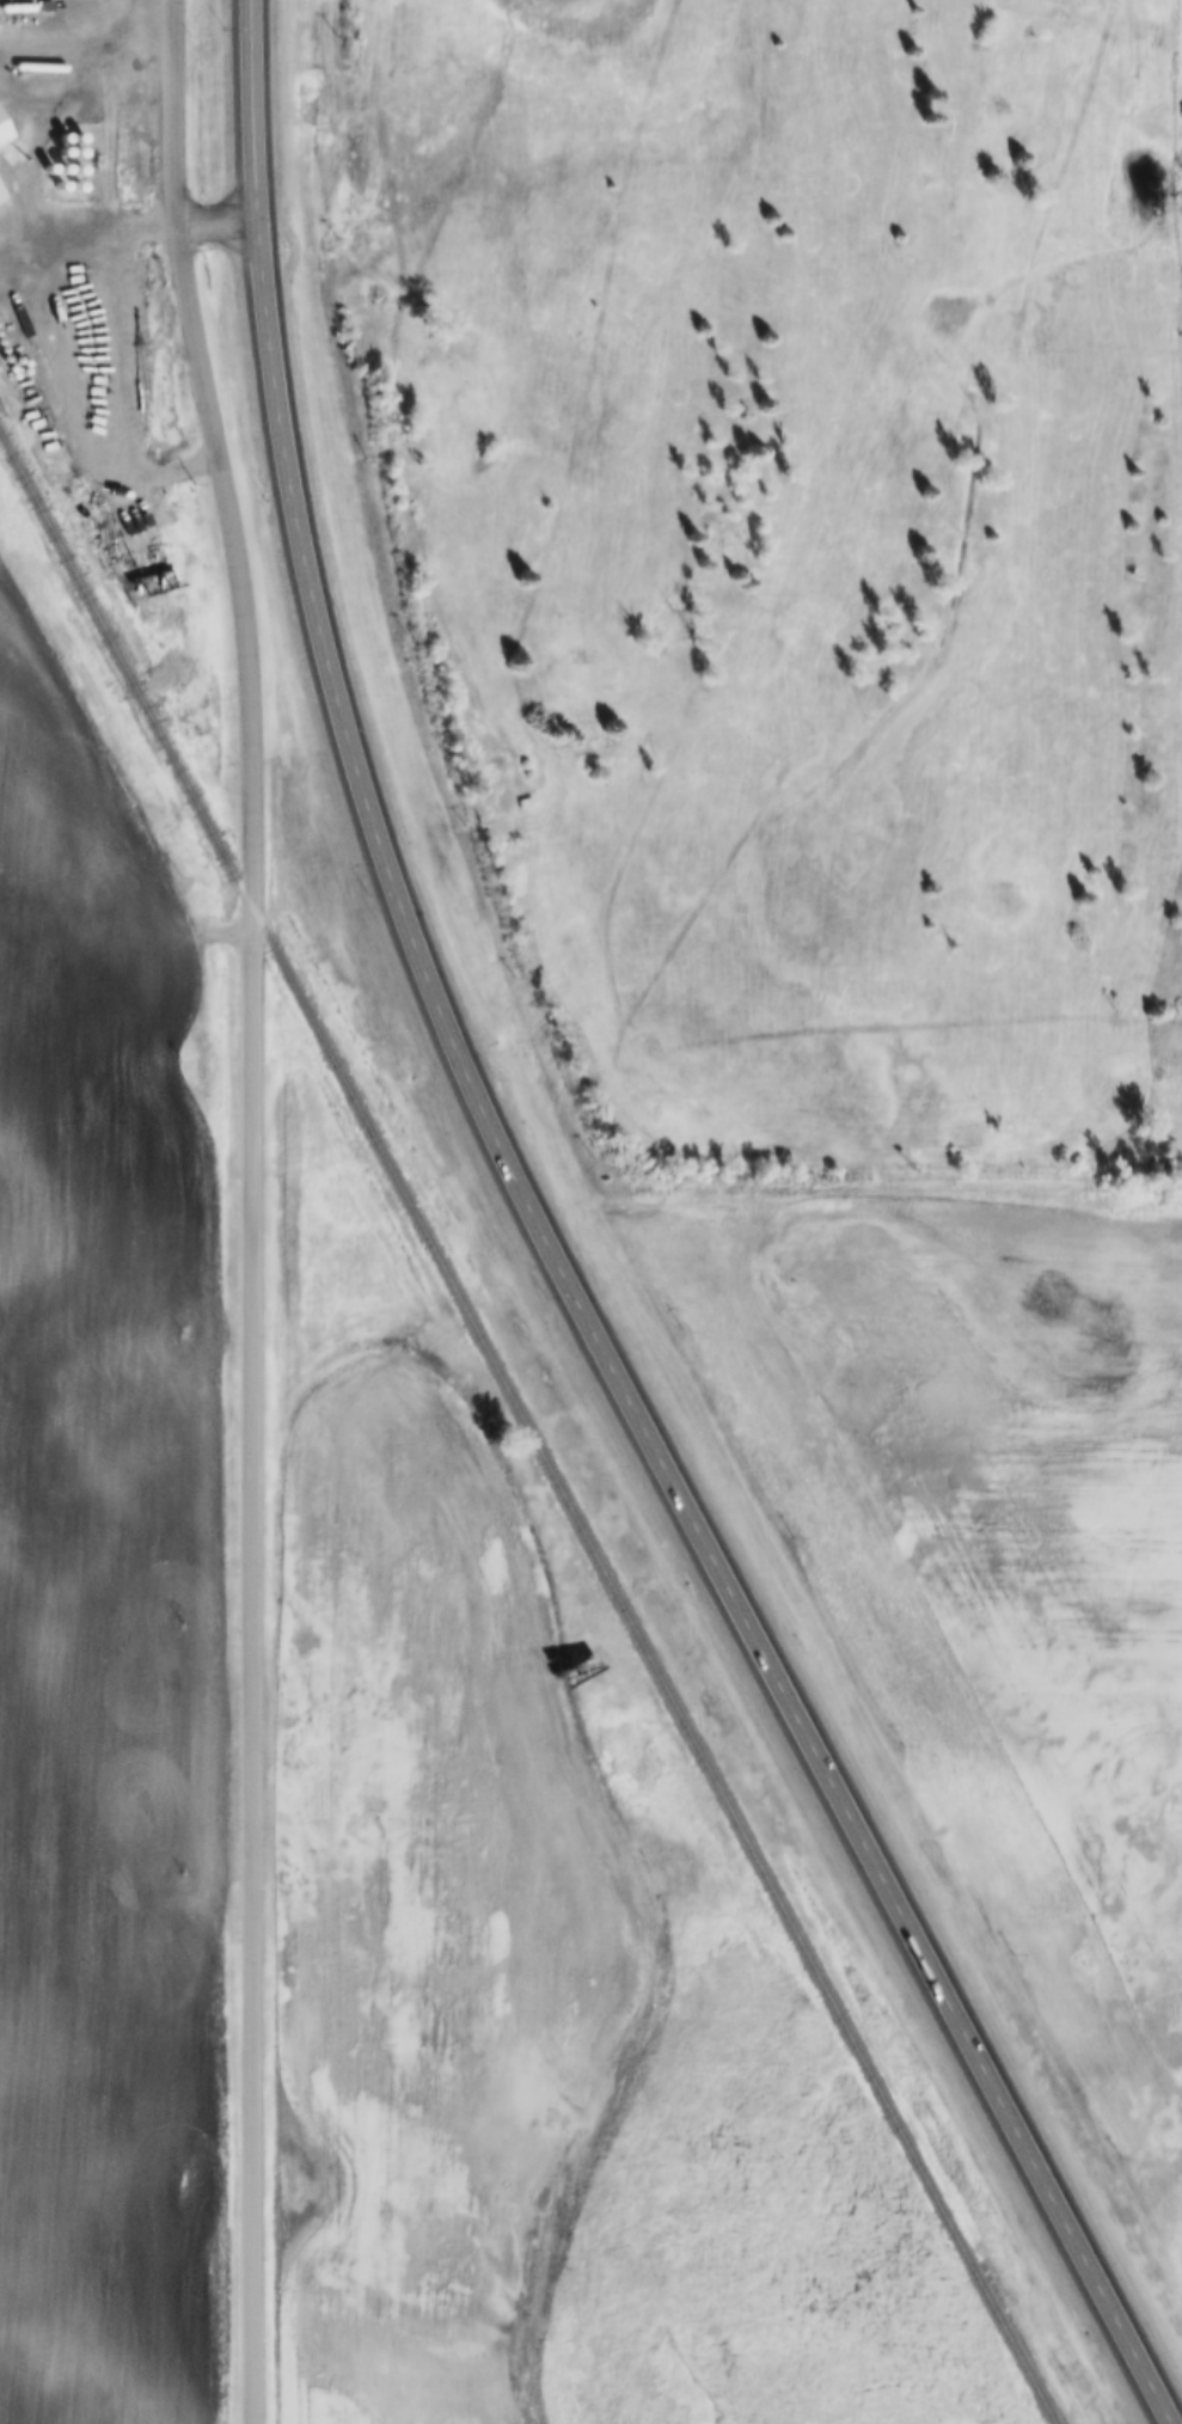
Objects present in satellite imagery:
storage tank: (16, 5)
storage tank: (38, 66)
road: (759, 88)
building: (4, 129)
storage tank: (62, 134)
storage tank: (76, 134)
storage tank: (61, 149)
storage tank: (76, 149)
storage tank: (47, 166)
storage tank: (61, 166)
storage tank: (75, 166)
road: (382, 173)
storage tank: (57, 183)
storage tank: (74, 183)
road: (174, 221)
road: (259, 262)
road: (96, 281)
road: (213, 451)
park: (780, 564)
road: (538, 767)
road: (114, 791)
building: (520, 803)
road: (711, 877)
road: (1137, 943)
road: (654, 1054)
railway: (525, 1431)
road: (674, 1496)
road: (244, 1663)

